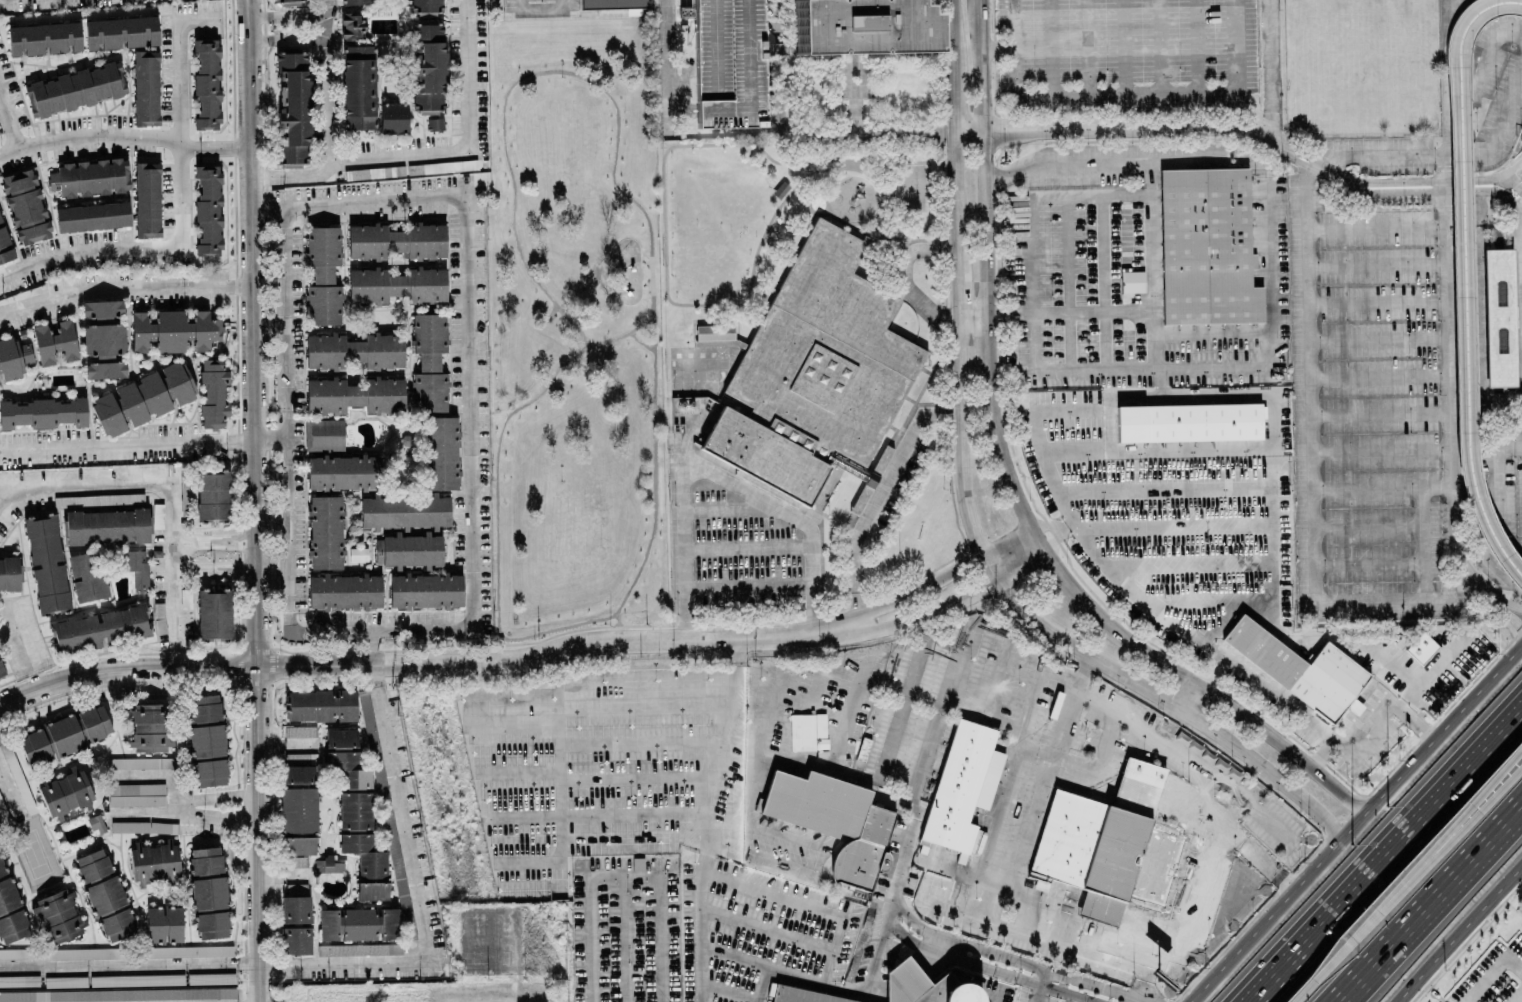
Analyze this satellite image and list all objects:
building: (288, 1)
building: (355, 1)
building: (610, 3)
building: (427, 6)
road: (539, 8)
road: (286, 13)
road: (1475, 18)
road: (296, 25)
building: (352, 25)
road: (1015, 25)
building: (860, 26)
road: (1458, 27)
building: (81, 34)
road: (287, 37)
road: (1005, 43)
road: (993, 46)
road: (986, 49)
road: (1003, 52)
parking lot: (1127, 56)
road: (1485, 60)
parking lot: (727, 62)
building: (727, 63)
road: (668, 65)
road: (953, 66)
road: (981, 66)
building: (428, 67)
road: (1272, 69)
road: (579, 77)
road: (329, 79)
building: (206, 82)
building: (358, 86)
building: (146, 87)
building: (74, 88)
road: (1154, 88)
building: (292, 107)
road: (856, 110)
building: (393, 116)
building: (434, 122)
road: (1173, 128)
road: (11, 129)
road: (182, 132)
road: (970, 132)
road: (1449, 133)
road: (98, 134)
road: (833, 134)
road: (1215, 137)
road: (467, 140)
road: (217, 146)
road: (1448, 152)
road: (1127, 157)
road: (852, 162)
building: (441, 166)
road: (1443, 166)
road: (1510, 170)
road: (928, 171)
road: (298, 172)
building: (89, 176)
road: (1516, 176)
road: (1477, 178)
road: (1397, 179)
road: (1500, 185)
road: (1516, 185)
road: (957, 188)
road: (1483, 189)
road: (1410, 190)
building: (146, 199)
road: (374, 200)
building: (25, 205)
road: (1510, 205)
road: (269, 206)
road: (1444, 206)
building: (208, 208)
road: (1480, 210)
road: (1518, 213)
building: (92, 215)
road: (1269, 219)
road: (1375, 226)
road: (1517, 235)
building: (396, 239)
road: (1520, 239)
road: (903, 242)
building: (5, 244)
building: (1206, 246)
road: (87, 248)
road: (1470, 260)
road: (1376, 264)
building: (322, 274)
building: (1131, 280)
road: (1068, 281)
road: (1104, 281)
road: (958, 282)
building: (397, 284)
road: (1028, 284)
road: (125, 286)
road: (911, 287)
road: (1377, 298)
road: (1091, 310)
road: (1470, 313)
building: (1501, 314)
road: (1519, 316)
road: (1454, 319)
parking lot: (1469, 319)
road: (1481, 319)
road: (1467, 325)
park: (576, 326)
building: (174, 330)
road: (1457, 332)
road: (622, 334)
building: (715, 334)
building: (86, 338)
road: (1378, 338)
road: (639, 341)
building: (354, 350)
parking lot: (1398, 358)
road: (588, 360)
building: (428, 361)
road: (1156, 362)
road: (1471, 368)
building: (814, 372)
road: (1379, 376)
building: (178, 381)
building: (213, 392)
building: (354, 394)
building: (32, 396)
road: (1448, 399)
building: (130, 403)
road: (1051, 403)
road: (469, 409)
road: (1380, 411)
road: (1502, 414)
building: (1188, 421)
road: (694, 428)
building: (324, 434)
road: (142, 443)
road: (1381, 449)
building: (440, 451)
road: (1495, 452)
road: (165, 479)
road: (884, 486)
road: (1404, 487)
road: (747, 488)
road: (1313, 489)
building: (212, 493)
building: (185, 495)
road: (256, 497)
building: (98, 498)
road: (286, 509)
building: (385, 509)
road: (726, 509)
building: (157, 515)
building: (106, 525)
road: (1370, 525)
road: (1055, 526)
building: (324, 531)
road: (215, 540)
road: (1496, 541)
road: (683, 544)
road: (816, 546)
road: (1043, 546)
road: (750, 547)
building: (357, 553)
building: (46, 561)
road: (1371, 562)
building: (136, 566)
road: (215, 568)
building: (9, 573)
building: (86, 575)
road: (750, 584)
road: (926, 585)
building: (425, 589)
building: (344, 590)
road: (1148, 600)
road: (1510, 604)
road: (937, 609)
building: (1203, 610)
building: (213, 613)
road: (1510, 614)
building: (159, 616)
road: (618, 623)
building: (101, 628)
road: (1060, 637)
road: (24, 644)
building: (1421, 647)
road: (736, 657)
road: (406, 661)
road: (1392, 665)
building: (1300, 668)
building: (1, 670)
road: (1434, 673)
road: (992, 696)
road: (1277, 696)
building: (345, 703)
building: (310, 704)
road: (1071, 706)
building: (205, 707)
road: (898, 714)
road: (1177, 714)
building: (148, 726)
road: (1371, 727)
building: (301, 730)
road: (1444, 732)
building: (64, 733)
building: (371, 734)
building: (340, 737)
building: (207, 739)
road: (559, 739)
road: (289, 742)
road: (640, 742)
road: (1184, 755)
road: (774, 758)
building: (140, 762)
building: (348, 768)
building: (15, 771)
building: (211, 771)
building: (298, 773)
building: (960, 783)
road: (10, 788)
building: (64, 793)
building: (136, 793)
road: (173, 793)
road: (217, 795)
building: (0, 799)
road: (900, 801)
road: (1166, 801)
building: (298, 809)
road: (1468, 811)
road: (216, 812)
building: (832, 819)
road: (1470, 822)
building: (97, 823)
building: (144, 825)
road: (910, 828)
building: (0, 832)
building: (360, 833)
road: (705, 839)
building: (299, 844)
building: (1109, 846)
building: (738, 850)
road: (1386, 855)
building: (154, 861)
road: (901, 862)
building: (327, 864)
road: (286, 873)
road: (625, 873)
building: (372, 889)
building: (208, 891)
building: (105, 894)
road: (1276, 907)
road: (1433, 907)
building: (10, 908)
building: (295, 908)
building: (58, 914)
building: (153, 922)
building: (357, 922)
building: (388, 922)
building: (172, 923)
building: (328, 923)
road: (767, 928)
road: (1461, 935)
road: (623, 937)
road: (838, 937)
building: (296, 939)
road: (1355, 939)
road: (942, 944)
building: (360, 948)
road: (735, 955)
road: (382, 960)
road: (970, 962)
road: (1514, 962)
road: (778, 968)
road: (1130, 968)
building: (211, 977)
building: (136, 978)
road: (1485, 978)
road: (1191, 979)
building: (65, 980)
road: (1038, 985)
building: (925, 986)
building: (119, 993)
road: (504, 995)
building: (805, 995)
road: (1516, 996)
road: (177, 999)
road: (262, 999)
road: (1136, 1000)

